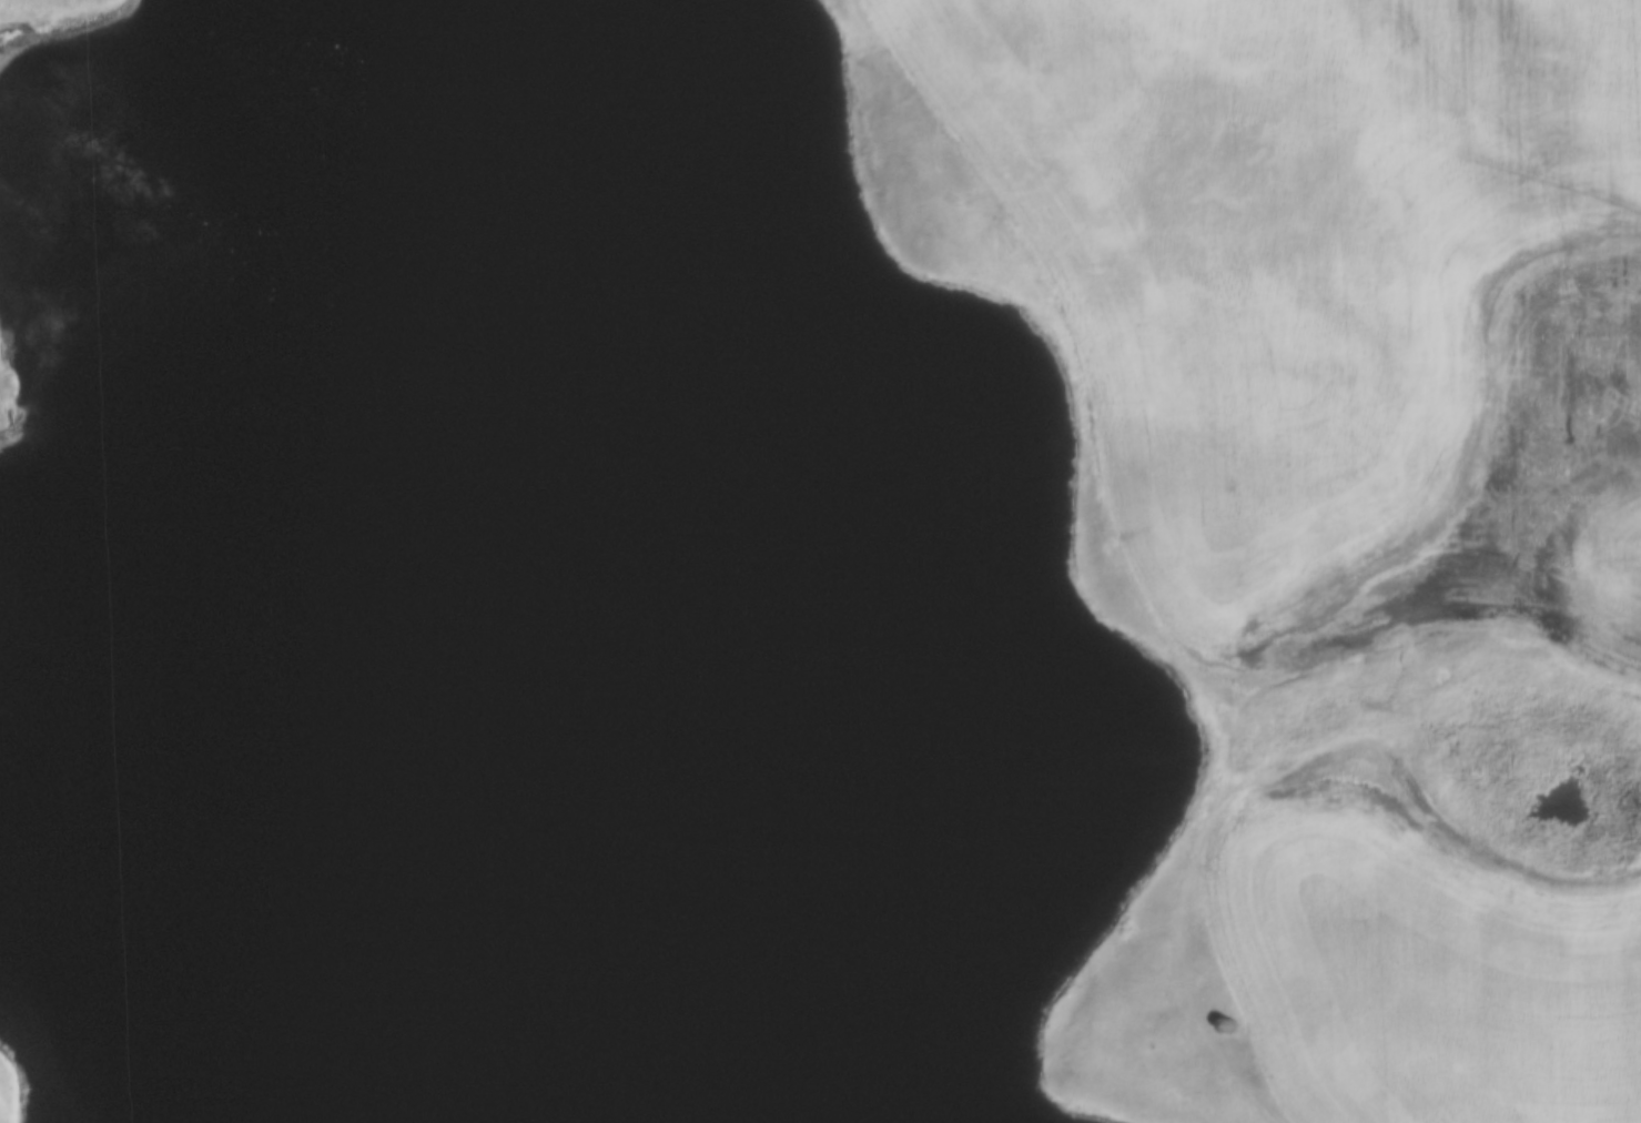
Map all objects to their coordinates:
building: (1228, 1026)

